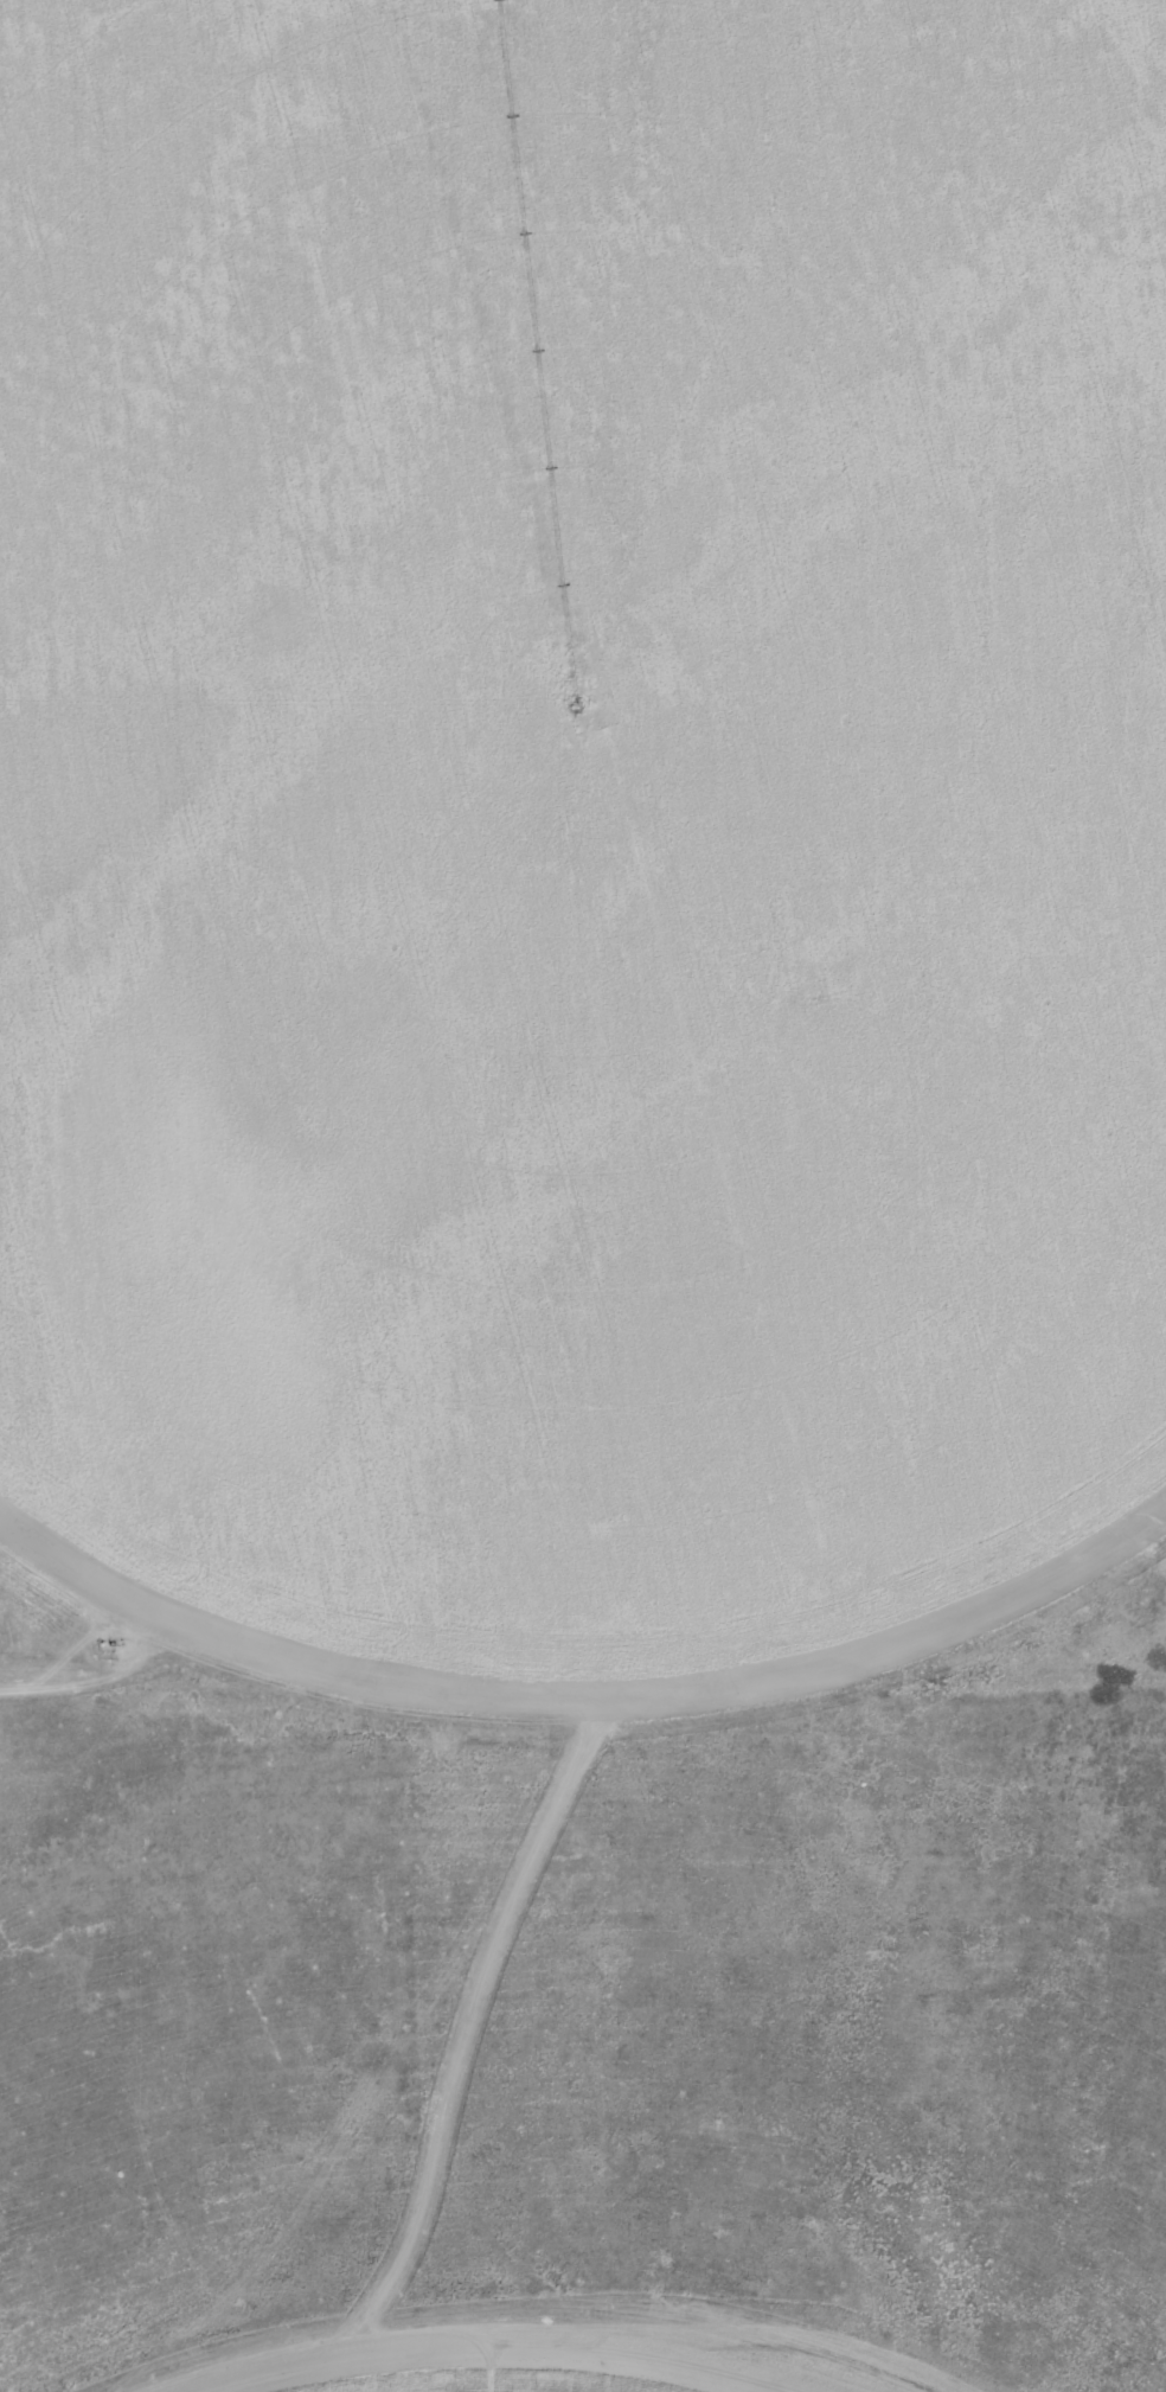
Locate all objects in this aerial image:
road: (583, 1617)

